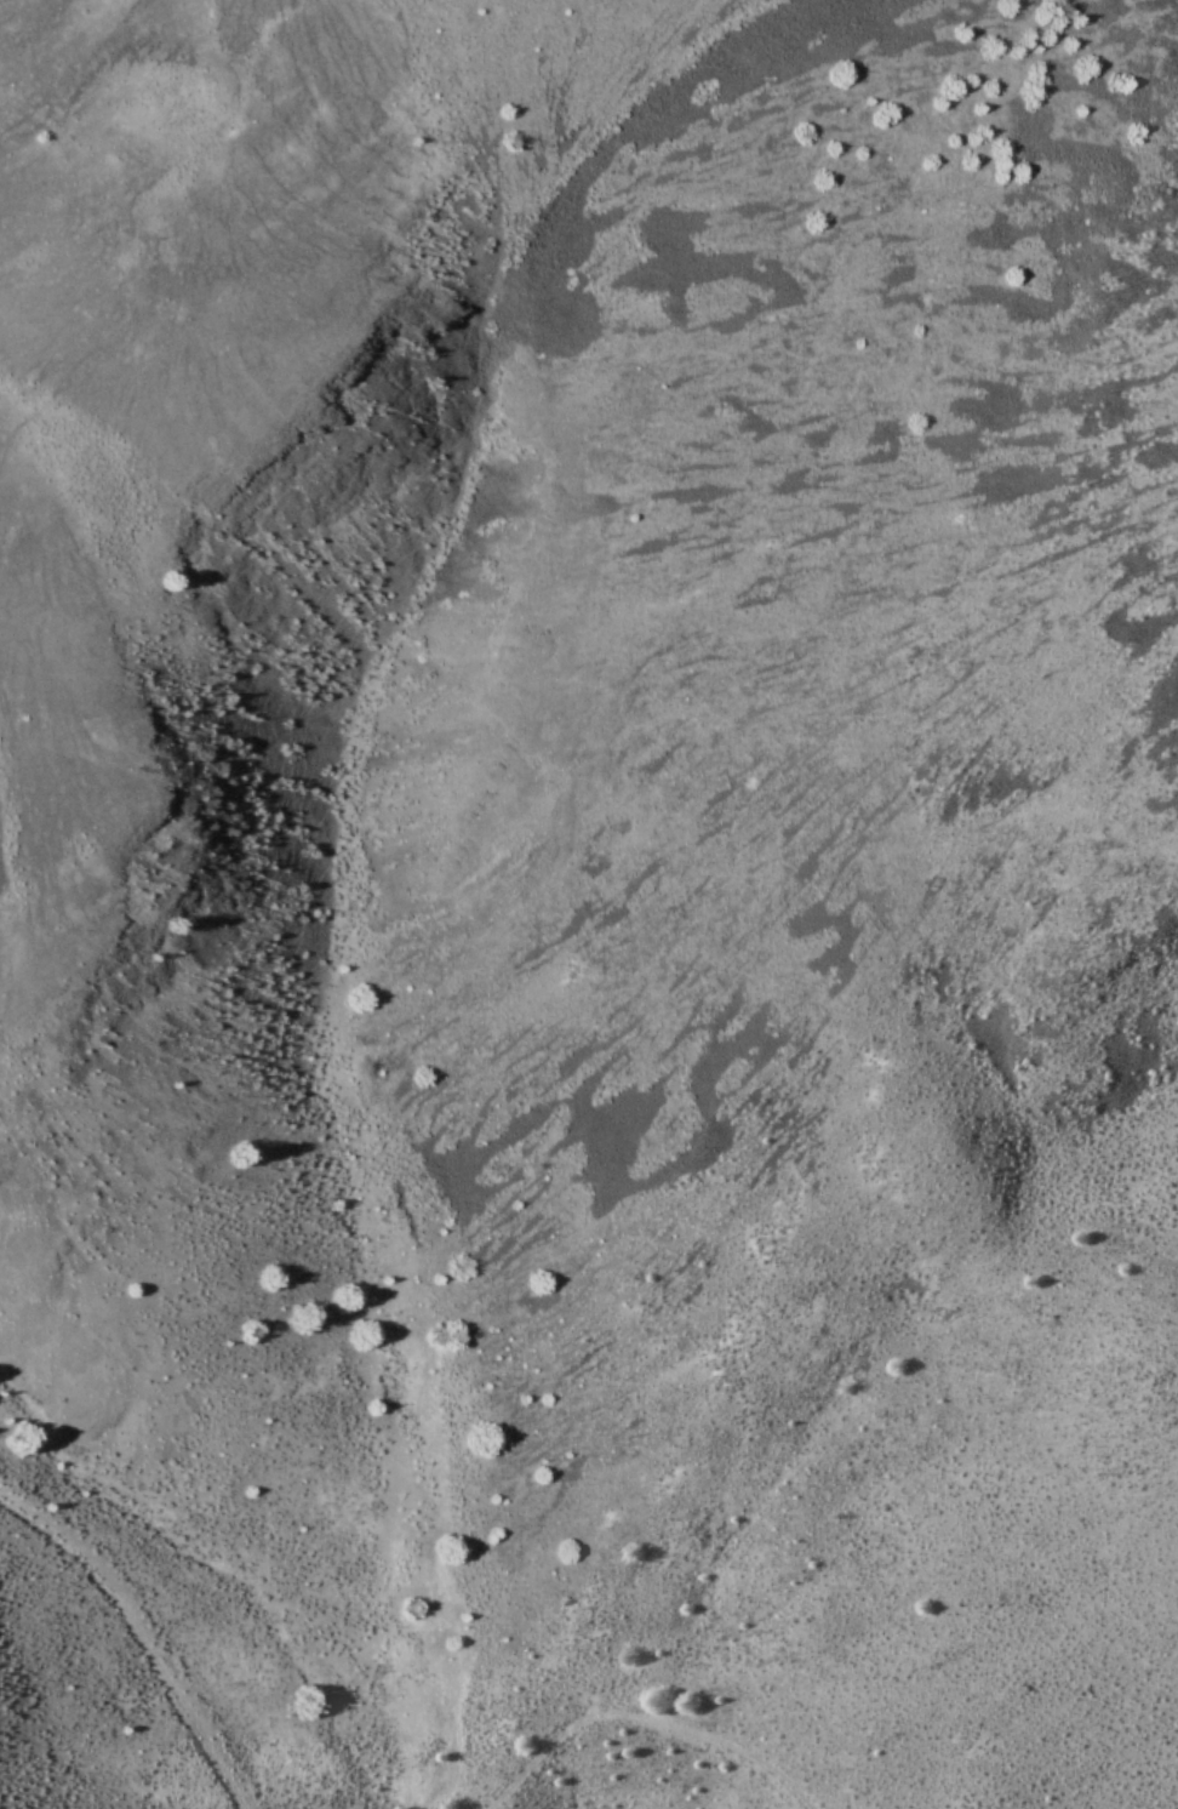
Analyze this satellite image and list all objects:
road: (124, 1648)

